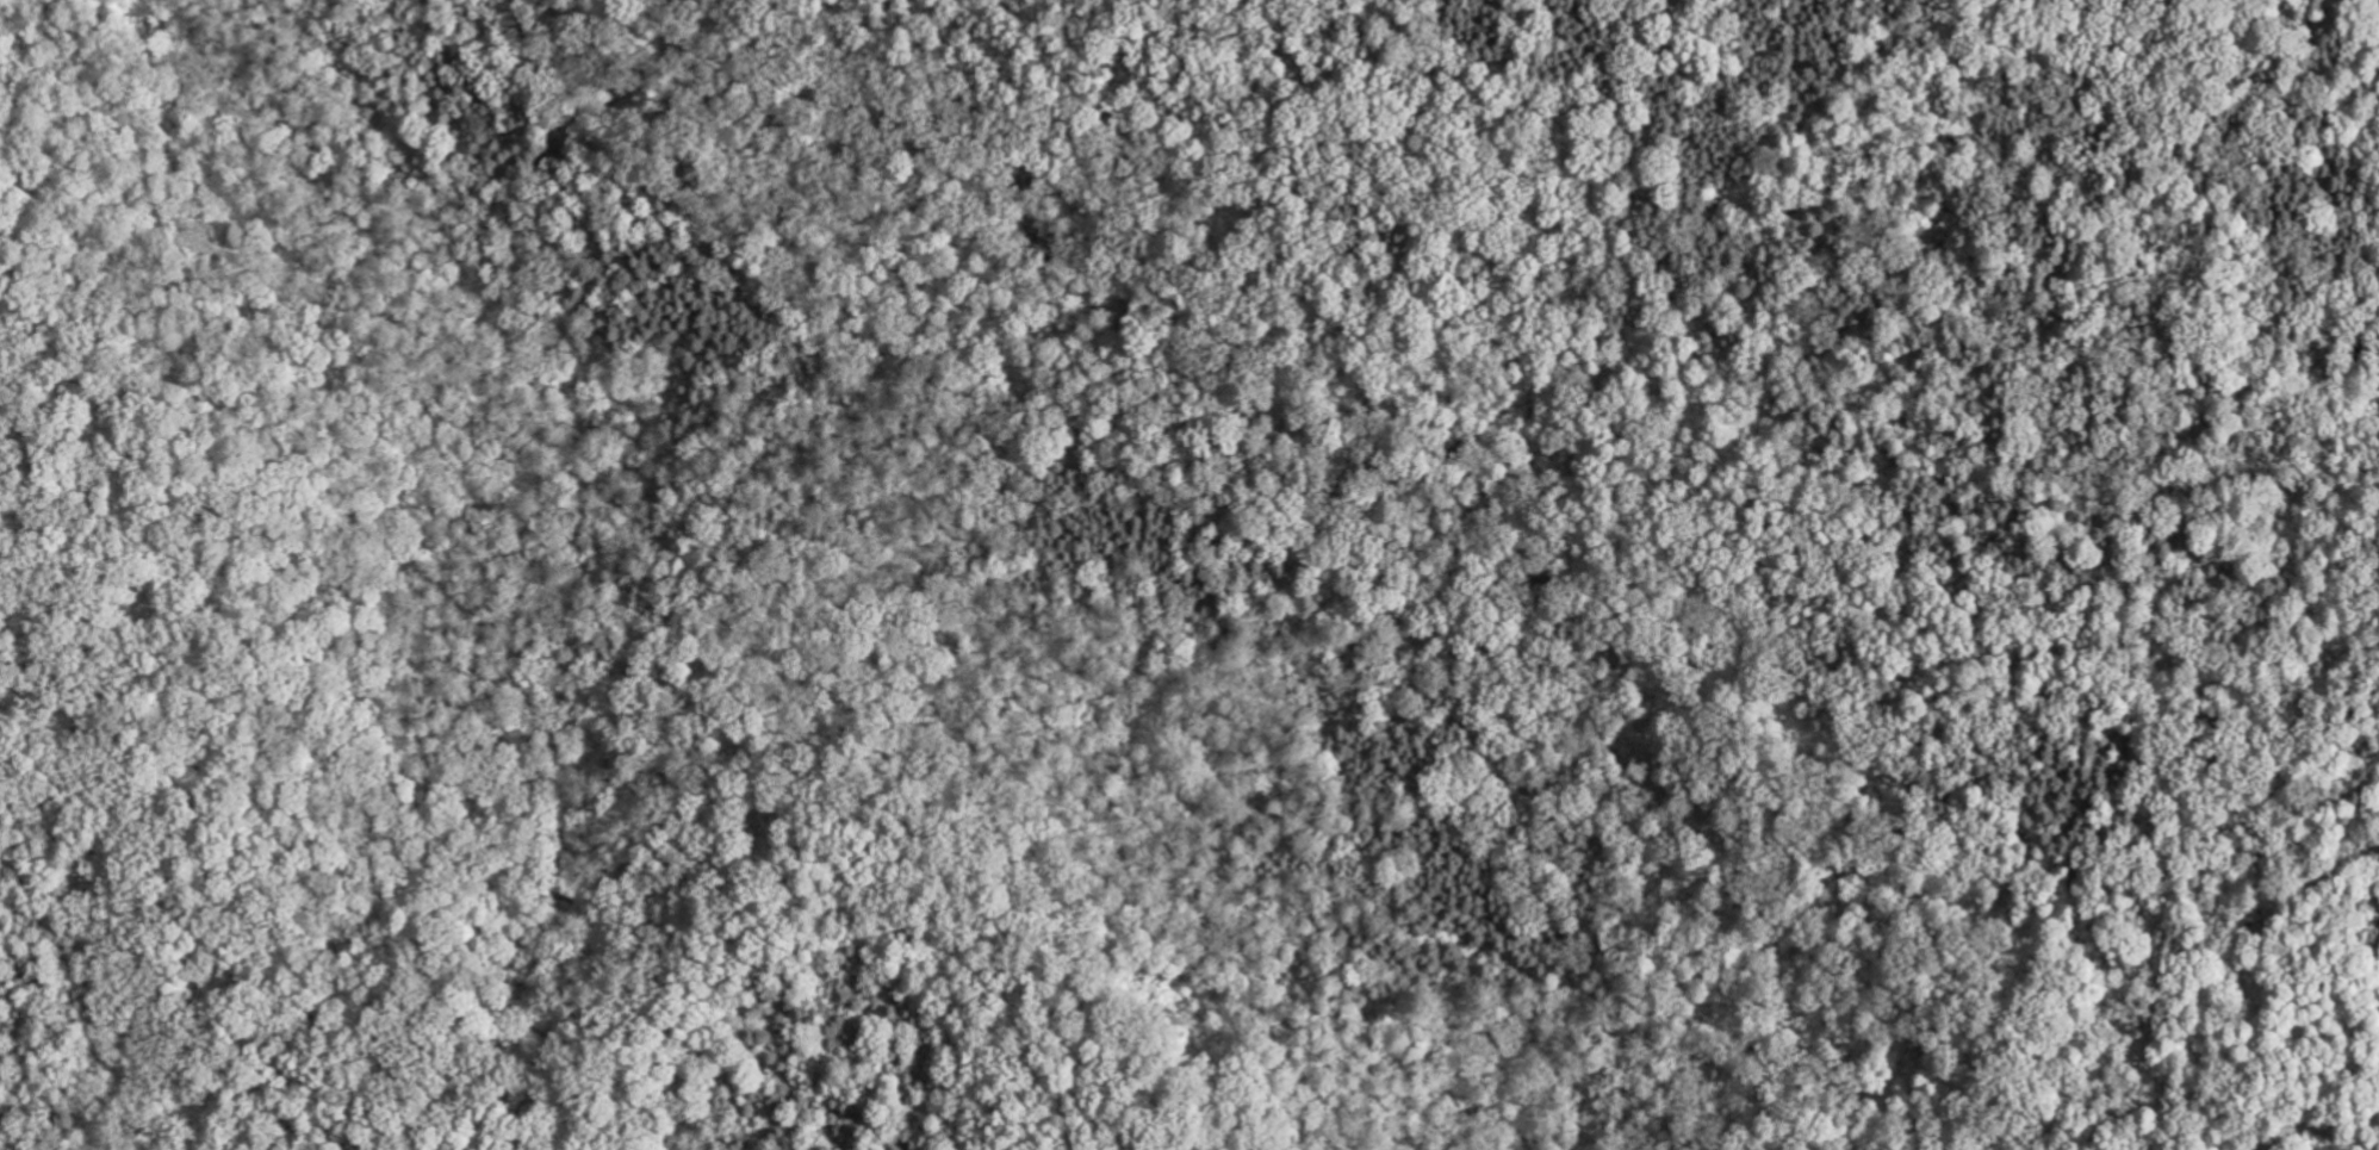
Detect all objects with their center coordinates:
road: (2321, 1132)

